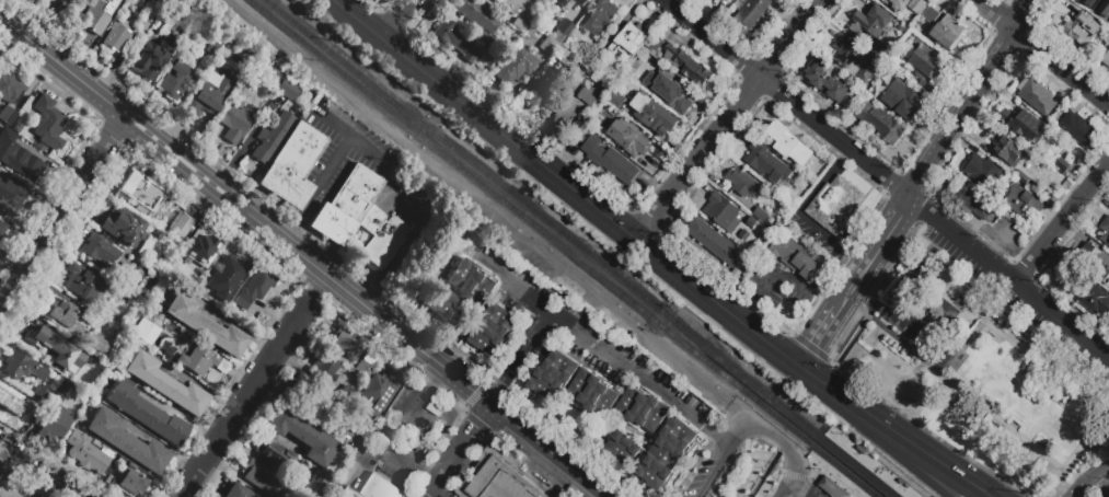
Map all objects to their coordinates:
building: (704, 0)
building: (543, 1)
road: (376, 3)
building: (567, 3)
building: (1088, 3)
building: (57, 4)
building: (510, 4)
building: (906, 7)
building: (1105, 9)
building: (750, 12)
road: (998, 14)
building: (477, 15)
building: (931, 15)
road: (393, 18)
road: (395, 18)
building: (599, 18)
building: (95, 19)
building: (870, 21)
building: (519, 24)
building: (564, 26)
building: (142, 27)
building: (157, 28)
building: (1082, 31)
building: (947, 32)
building: (115, 35)
building: (484, 37)
building: (454, 39)
building: (628, 43)
building: (547, 44)
building: (210, 45)
building: (652, 48)
building: (585, 57)
building: (565, 58)
building: (149, 59)
building: (854, 59)
building: (1106, 59)
road: (61, 65)
building: (924, 65)
building: (516, 66)
building: (686, 66)
road: (1063, 66)
building: (586, 73)
building: (173, 80)
building: (824, 82)
building: (250, 85)
building: (7, 86)
building: (607, 88)
building: (285, 89)
building: (543, 91)
building: (673, 91)
building: (209, 92)
building: (632, 92)
building: (1036, 96)
road: (785, 97)
road: (971, 97)
building: (899, 100)
building: (575, 107)
building: (8, 115)
building: (652, 115)
road: (522, 119)
road: (729, 119)
building: (234, 120)
building: (48, 122)
building: (880, 123)
building: (1025, 124)
building: (16, 127)
building: (1078, 130)
road: (147, 132)
building: (607, 134)
road: (246, 137)
building: (272, 137)
road: (350, 138)
road: (662, 141)
road: (159, 142)
road: (170, 145)
building: (640, 145)
building: (787, 145)
building: (1007, 150)
building: (18, 157)
building: (610, 161)
road: (178, 164)
building: (766, 164)
building: (1061, 164)
building: (292, 165)
road: (198, 173)
building: (984, 174)
building: (1024, 181)
road: (323, 182)
road: (211, 183)
building: (743, 184)
road: (223, 187)
building: (138, 190)
building: (11, 195)
building: (806, 196)
road: (238, 200)
road: (586, 200)
building: (1024, 201)
building: (973, 204)
building: (345, 205)
building: (833, 205)
road: (61, 210)
building: (723, 212)
road: (800, 213)
building: (761, 215)
building: (155, 216)
road: (648, 219)
building: (153, 221)
road: (892, 221)
road: (264, 222)
building: (752, 222)
building: (181, 223)
road: (1063, 224)
building: (2, 226)
building: (123, 228)
building: (1105, 230)
road: (290, 232)
road: (414, 234)
building: (744, 234)
building: (379, 235)
building: (716, 243)
building: (200, 244)
railway: (563, 247)
railway: (578, 247)
building: (99, 248)
building: (142, 250)
building: (796, 258)
building: (1095, 262)
building: (129, 263)
building: (230, 269)
road: (862, 271)
road: (1009, 276)
road: (725, 280)
building: (80, 281)
building: (472, 282)
road: (510, 282)
road: (323, 285)
building: (254, 288)
building: (1089, 294)
road: (369, 297)
building: (440, 302)
parking lot: (1013, 303)
road: (857, 304)
building: (60, 315)
building: (90, 317)
building: (205, 324)
road: (236, 324)
building: (167, 326)
building: (146, 330)
building: (493, 331)
road: (823, 331)
road: (853, 337)
building: (96, 342)
building: (346, 343)
road: (596, 344)
road: (809, 345)
building: (55, 347)
building: (200, 361)
road: (949, 365)
road: (1047, 365)
building: (23, 367)
building: (363, 368)
road: (442, 370)
building: (325, 371)
road: (436, 374)
building: (553, 375)
park: (980, 377)
building: (96, 380)
building: (164, 383)
building: (62, 386)
building: (592, 393)
building: (41, 394)
road: (250, 394)
building: (346, 395)
building: (374, 395)
road: (494, 398)
building: (310, 400)
building: (12, 407)
building: (642, 409)
building: (146, 413)
road: (1002, 420)
building: (55, 425)
building: (328, 425)
road: (926, 429)
road: (395, 432)
building: (301, 435)
street lamp: (842, 435)
road: (774, 437)
road: (713, 438)
road: (753, 438)
road: (1085, 438)
parking lot: (397, 440)
road: (721, 440)
building: (126, 441)
road: (916, 446)
road: (892, 448)
building: (623, 449)
building: (273, 451)
road: (725, 451)
building: (85, 452)
road: (459, 452)
building: (666, 453)
street lamp: (869, 455)
parking lot: (753, 464)
road: (1021, 465)
railway: (864, 466)
road: (691, 469)
road: (38, 470)
street lamp: (821, 470)
road: (816, 472)
road: (763, 474)
road: (1095, 474)
road: (794, 475)
road: (432, 476)
railway: (835, 476)
building: (497, 477)
road: (708, 477)
building: (264, 478)
building: (127, 483)
building: (314, 483)
road: (766, 483)
building: (383, 486)
road: (805, 488)
building: (833, 488)
road: (805, 489)
road: (790, 490)
road: (1077, 490)
building: (236, 492)
building: (367, 492)
building: (8, 493)
building: (340, 493)
road: (1107, 495)
building: (559, 496)

